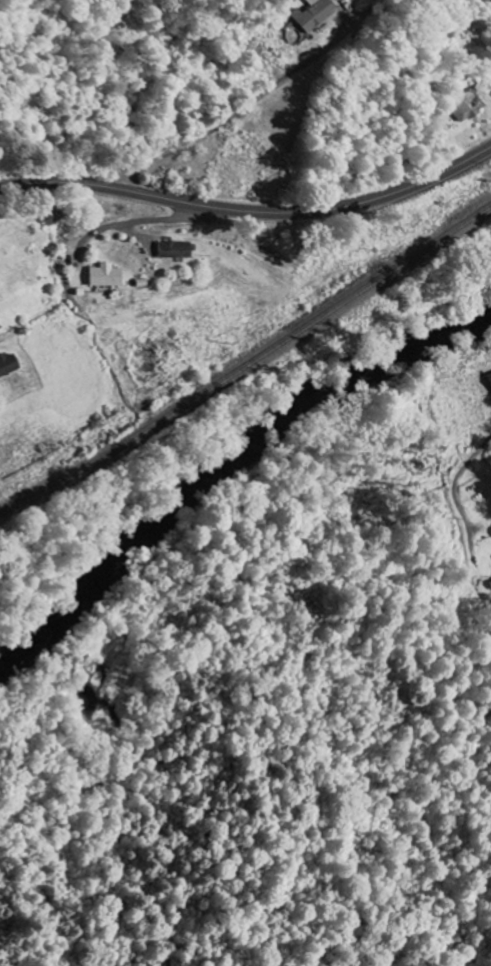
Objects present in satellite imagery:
building: (312, 14)
building: (464, 106)
road: (250, 212)
building: (172, 250)
building: (105, 276)
building: (8, 364)
railway: (247, 365)
building: (489, 379)
road: (456, 480)
building: (490, 582)

